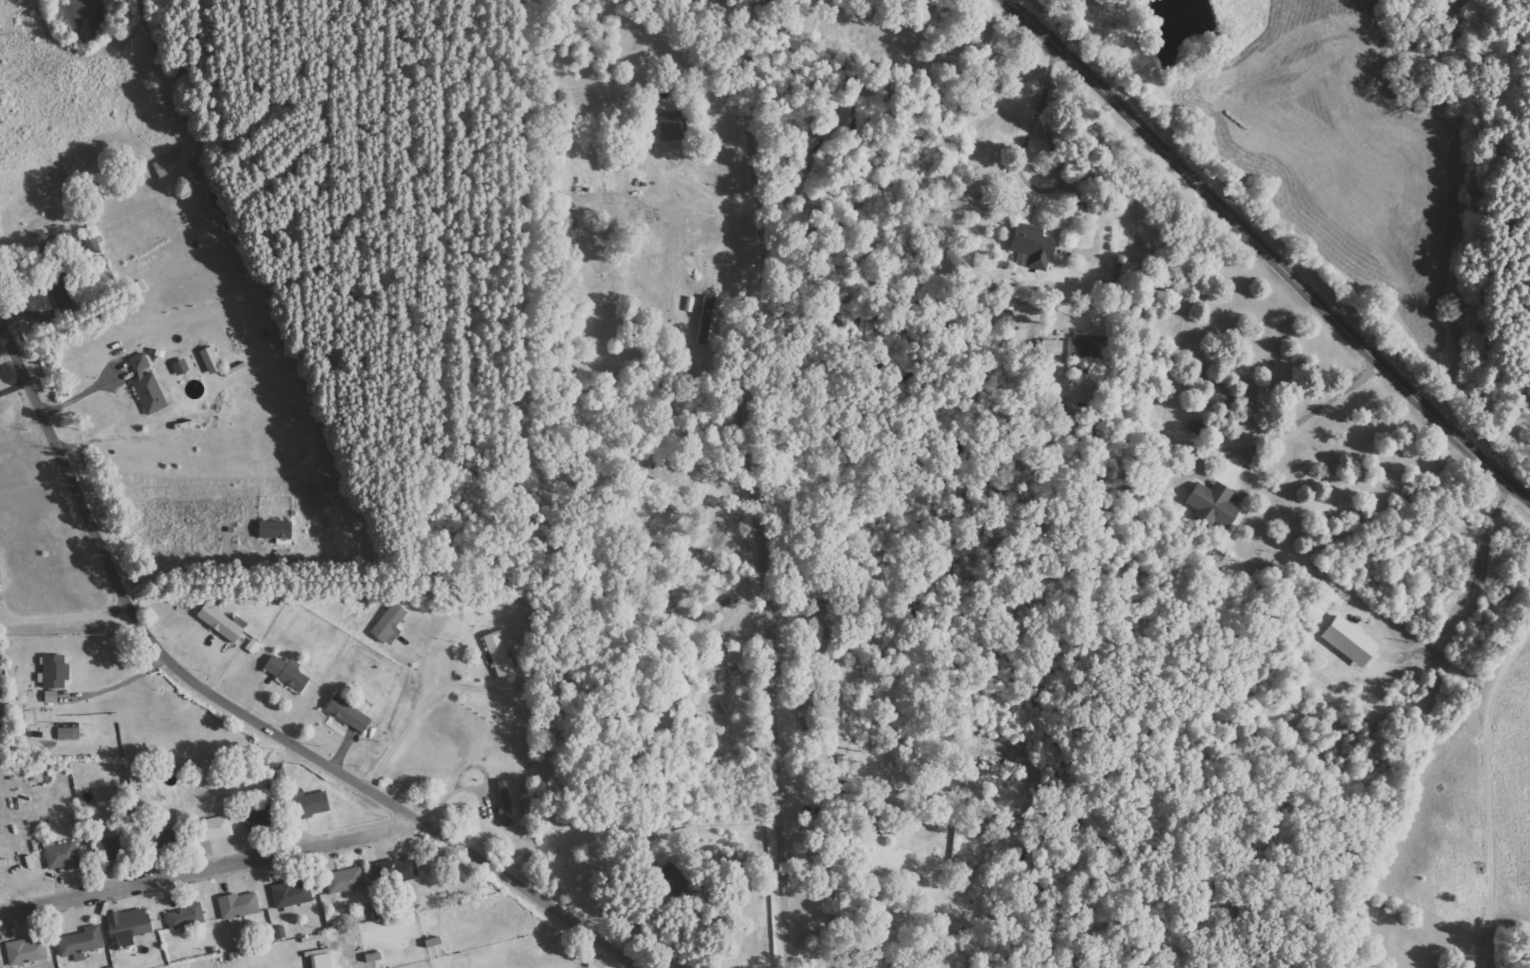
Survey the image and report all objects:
building: (702, 1)
building: (673, 127)
building: (174, 168)
building: (1028, 246)
road: (1271, 247)
building: (708, 320)
building: (1079, 348)
building: (213, 361)
building: (182, 368)
building: (149, 387)
road: (764, 484)
building: (1212, 503)
building: (276, 533)
building: (1, 584)
building: (223, 622)
building: (390, 625)
building: (501, 656)
building: (289, 672)
building: (56, 676)
building: (27, 701)
road: (239, 713)
building: (350, 714)
road: (424, 715)
building: (139, 776)
road: (1484, 795)
building: (316, 803)
building: (506, 803)
building: (219, 828)
building: (114, 848)
building: (63, 855)
road: (211, 869)
building: (399, 871)
building: (343, 881)
building: (293, 894)
building: (240, 905)
building: (844, 908)
building: (187, 917)
building: (131, 924)
building: (83, 942)
building: (28, 951)
building: (375, 957)
building: (324, 961)

